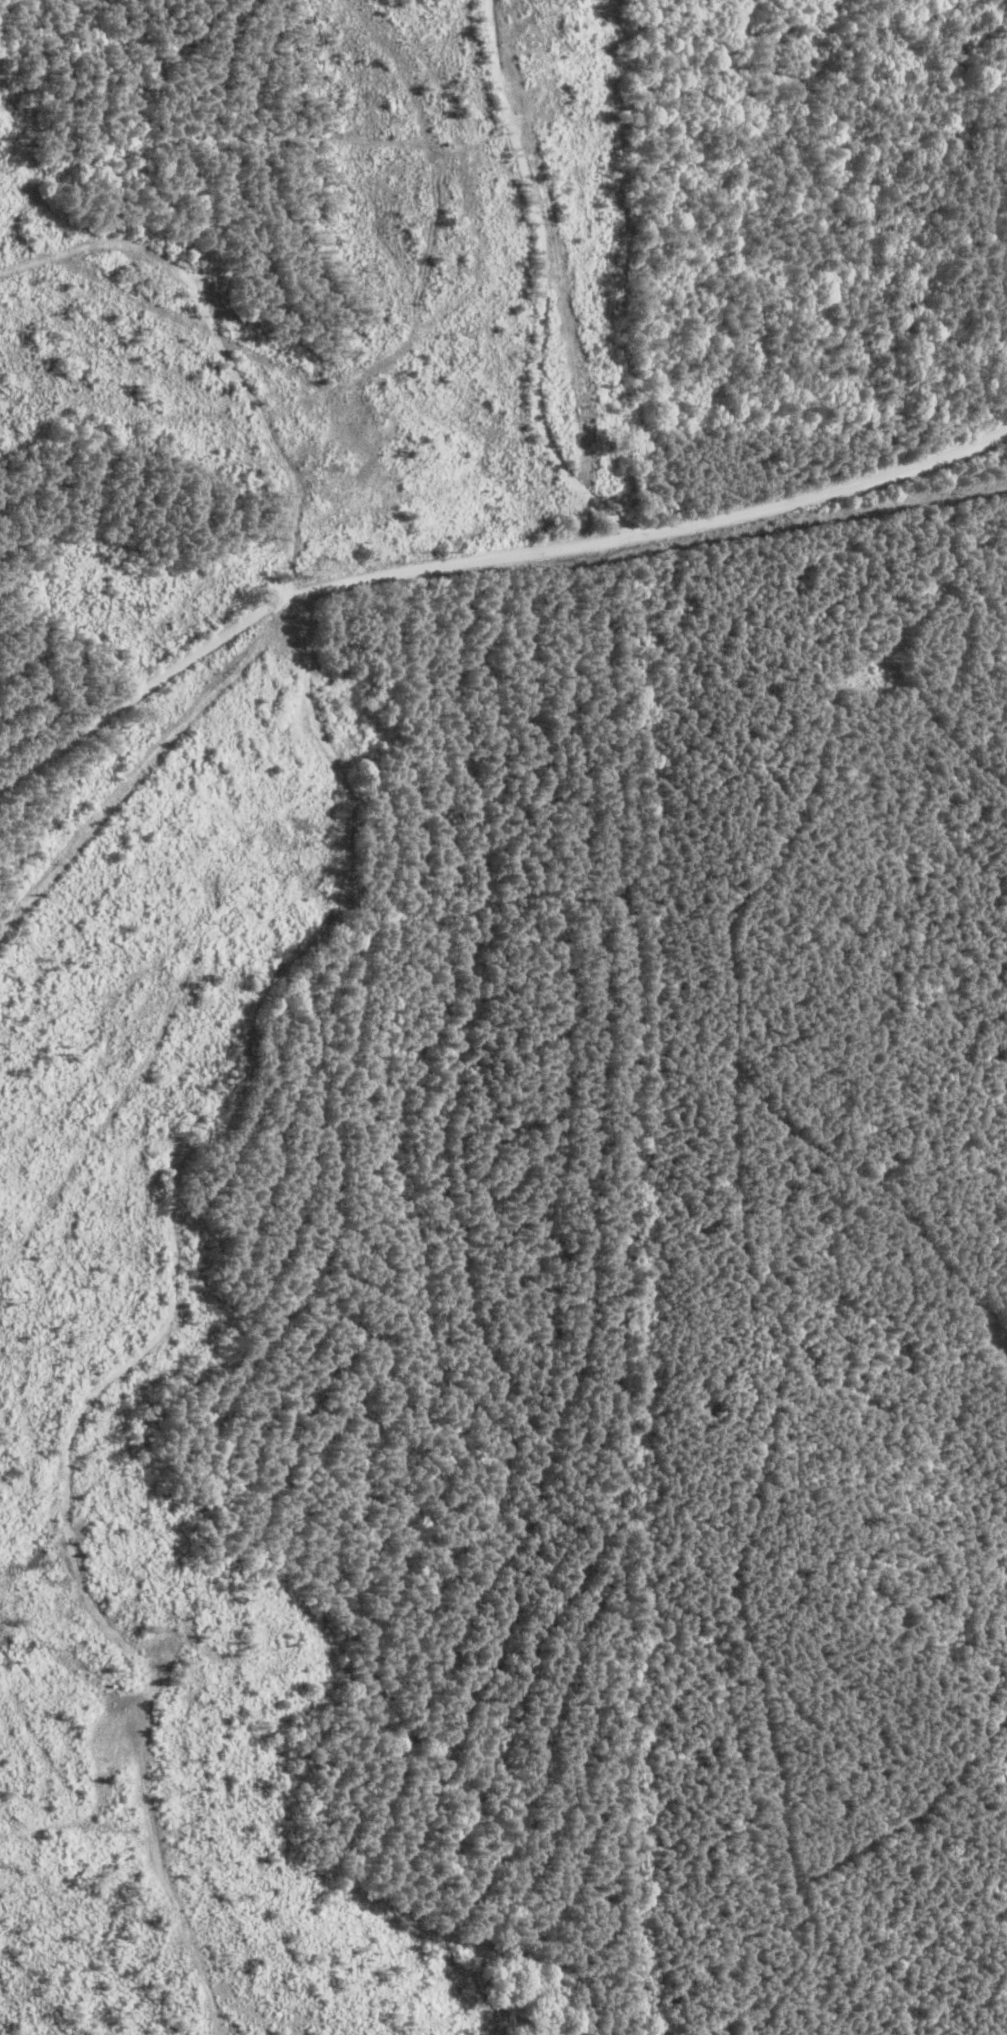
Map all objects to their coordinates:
road: (537, 284)
road: (482, 559)

